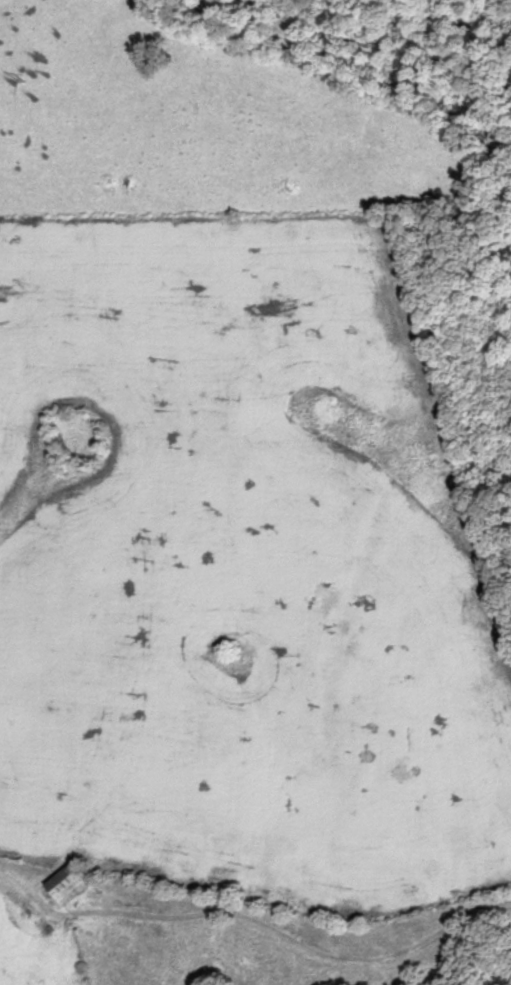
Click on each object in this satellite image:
building: (71, 882)

